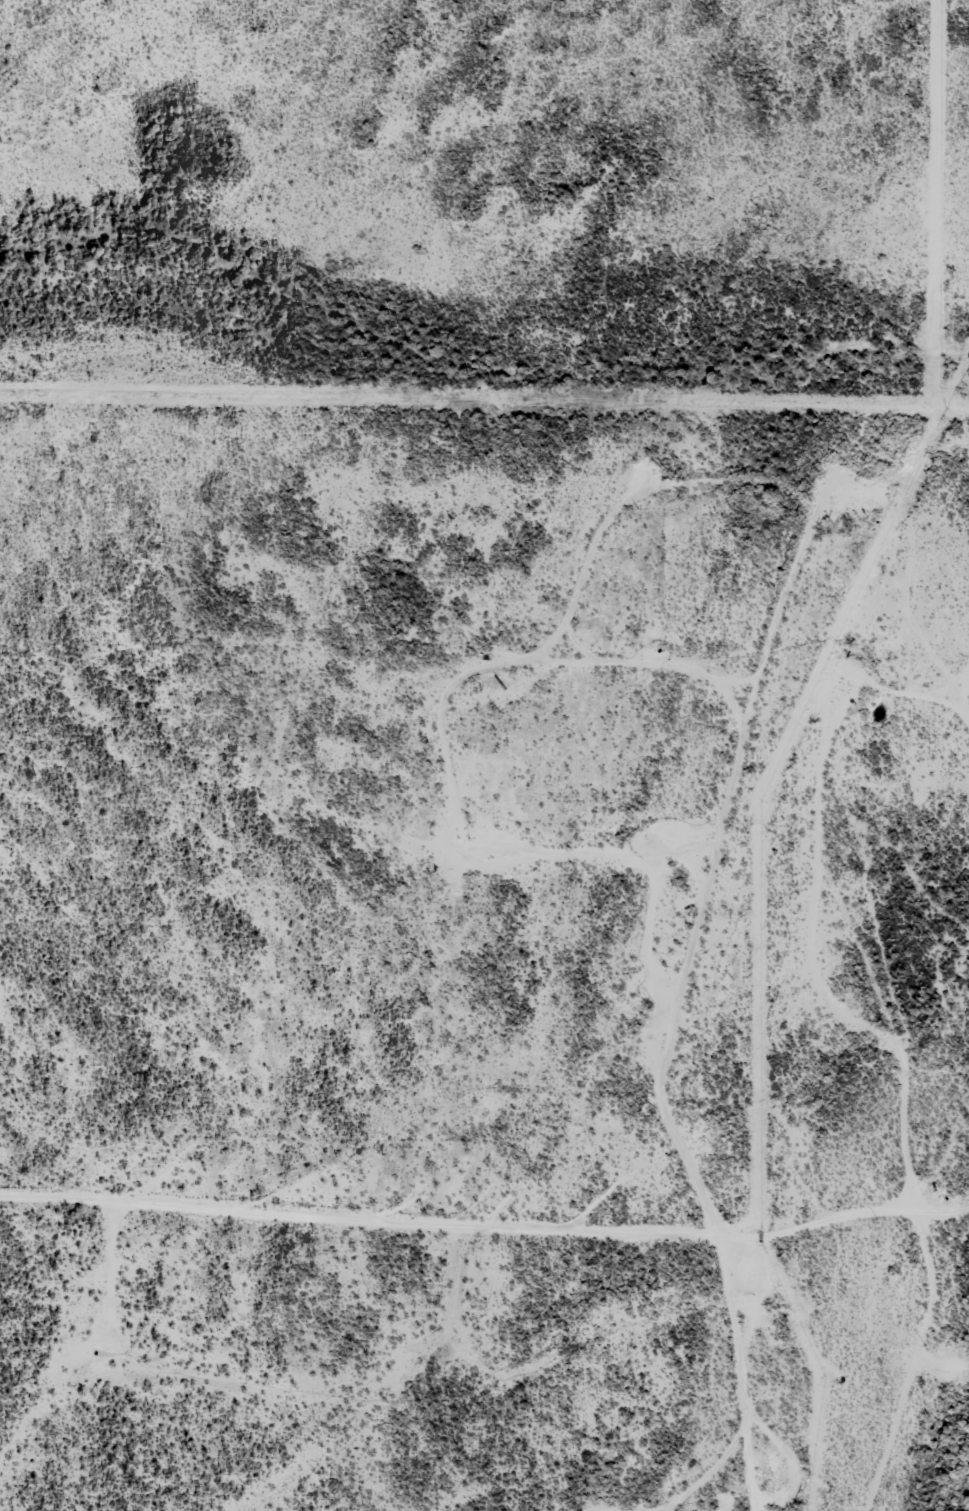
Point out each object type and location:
road: (486, 1234)

